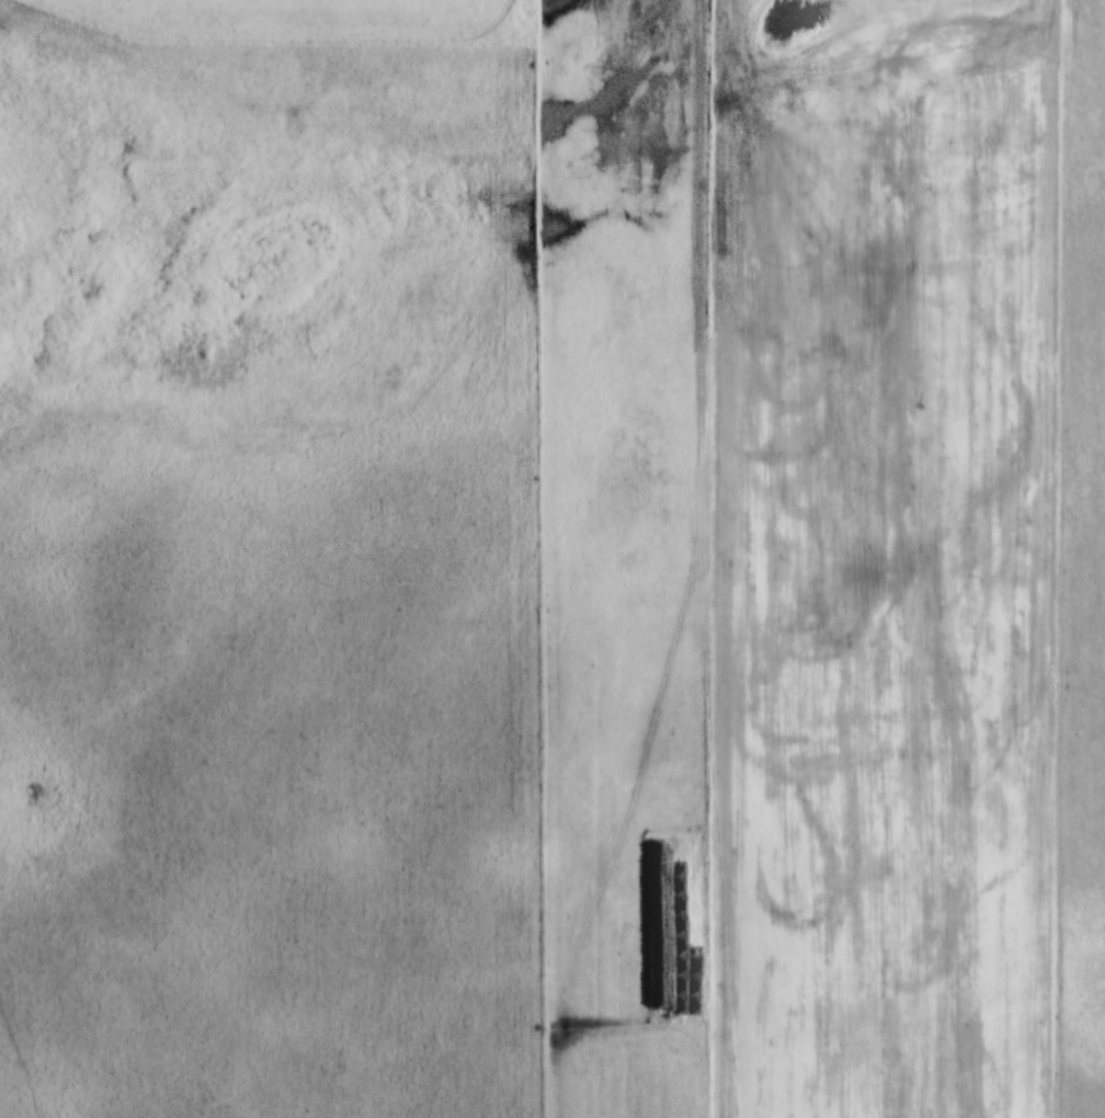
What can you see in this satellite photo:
road: (698, 559)

